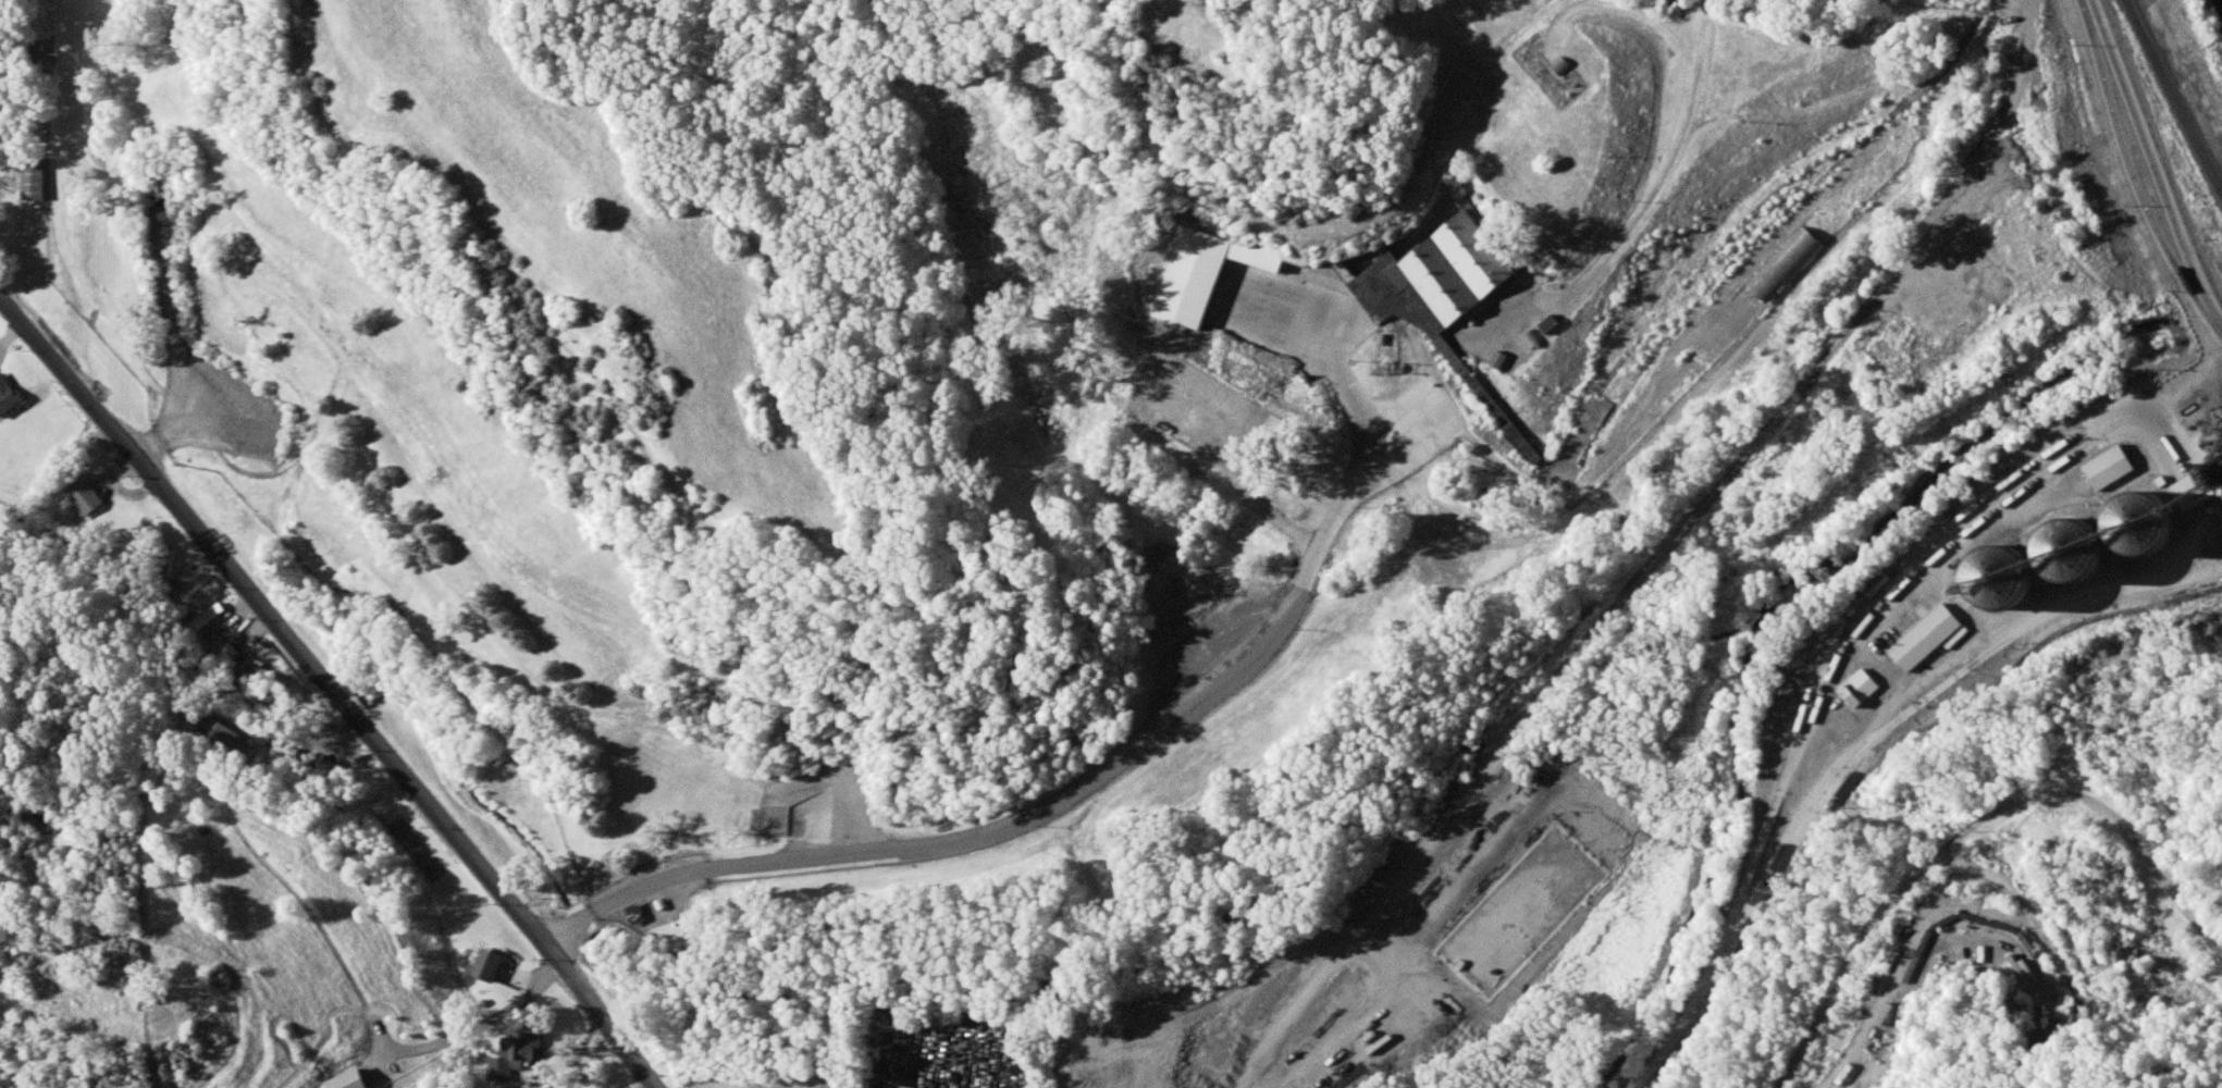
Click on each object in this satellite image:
park: (1949, 4)
railway: (1983, 7)
railway: (2172, 99)
railway: (2159, 153)
railway: (2151, 166)
railway: (1769, 230)
railway: (1738, 233)
building: (1788, 265)
building: (1437, 283)
road: (1296, 310)
building: (1966, 311)
building: (1526, 447)
building: (2140, 514)
building: (2072, 541)
building: (2001, 570)
building: (1926, 629)
building: (1857, 680)
road: (334, 689)
road: (1096, 777)
road: (1826, 787)
road: (1975, 834)
road: (572, 935)
road: (1884, 1011)

